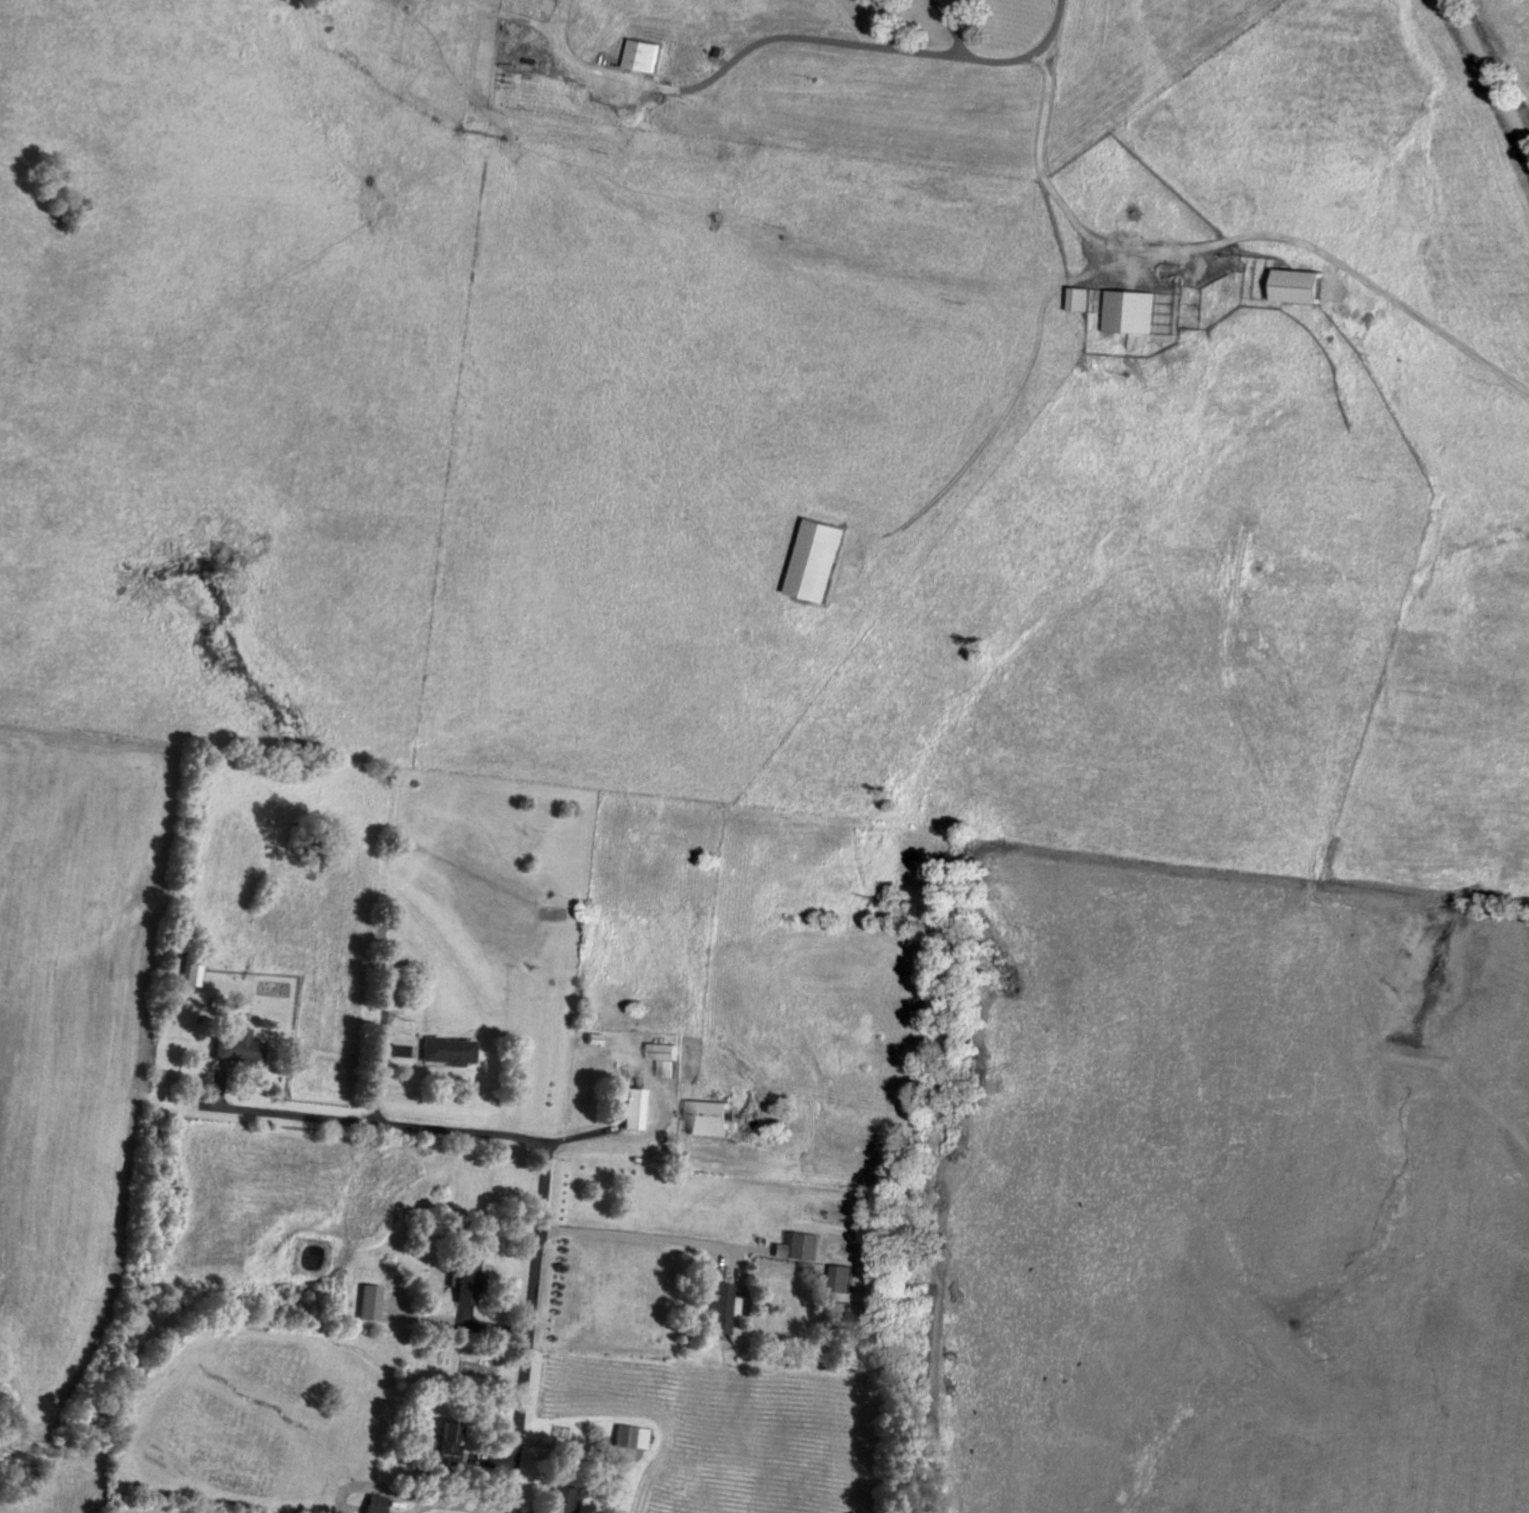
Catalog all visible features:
road: (1515, 22)
building: (640, 54)
road: (1164, 220)
building: (1293, 285)
building: (1077, 298)
building: (1127, 310)
building: (812, 560)
building: (189, 971)
building: (234, 1048)
building: (441, 1050)
building: (662, 1051)
building: (629, 1107)
building: (704, 1117)
road: (633, 1233)
building: (799, 1244)
building: (463, 1290)
building: (365, 1300)
building: (714, 1300)
road: (520, 1318)
road: (949, 1362)
building: (626, 1435)
building: (446, 1439)
building: (557, 1498)
building: (372, 1503)

